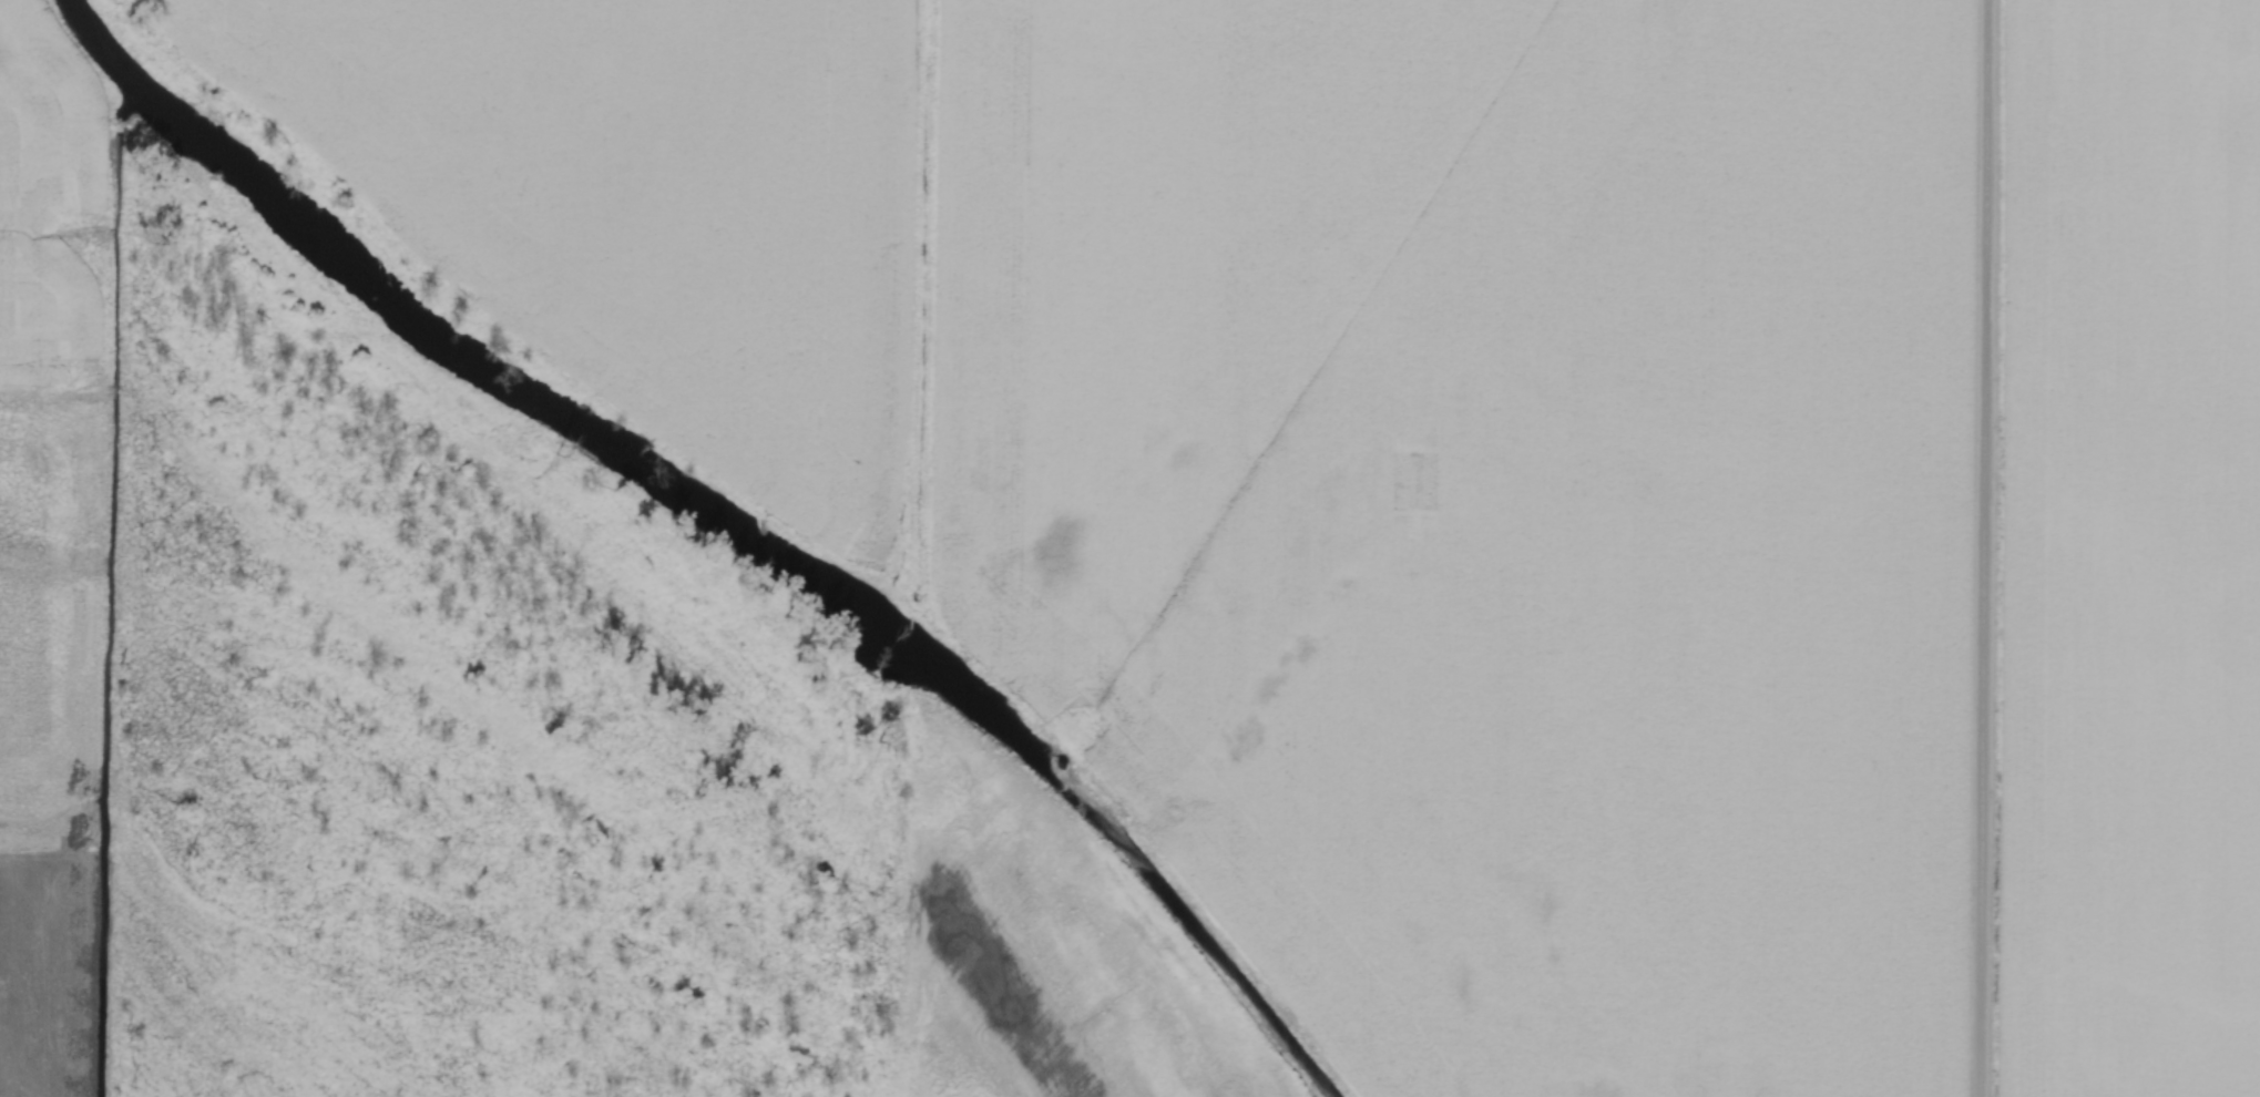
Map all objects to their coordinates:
road: (1988, 548)

